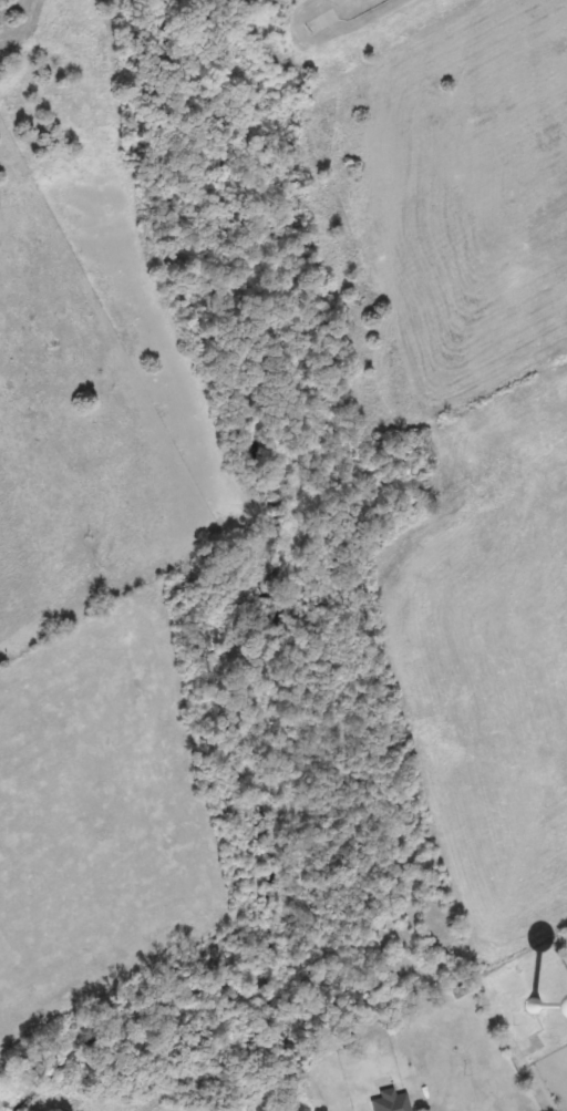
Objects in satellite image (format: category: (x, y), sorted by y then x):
building: (323, 22)
water tower: (544, 1006)
building: (530, 1012)
road: (537, 1084)
building: (391, 1101)

